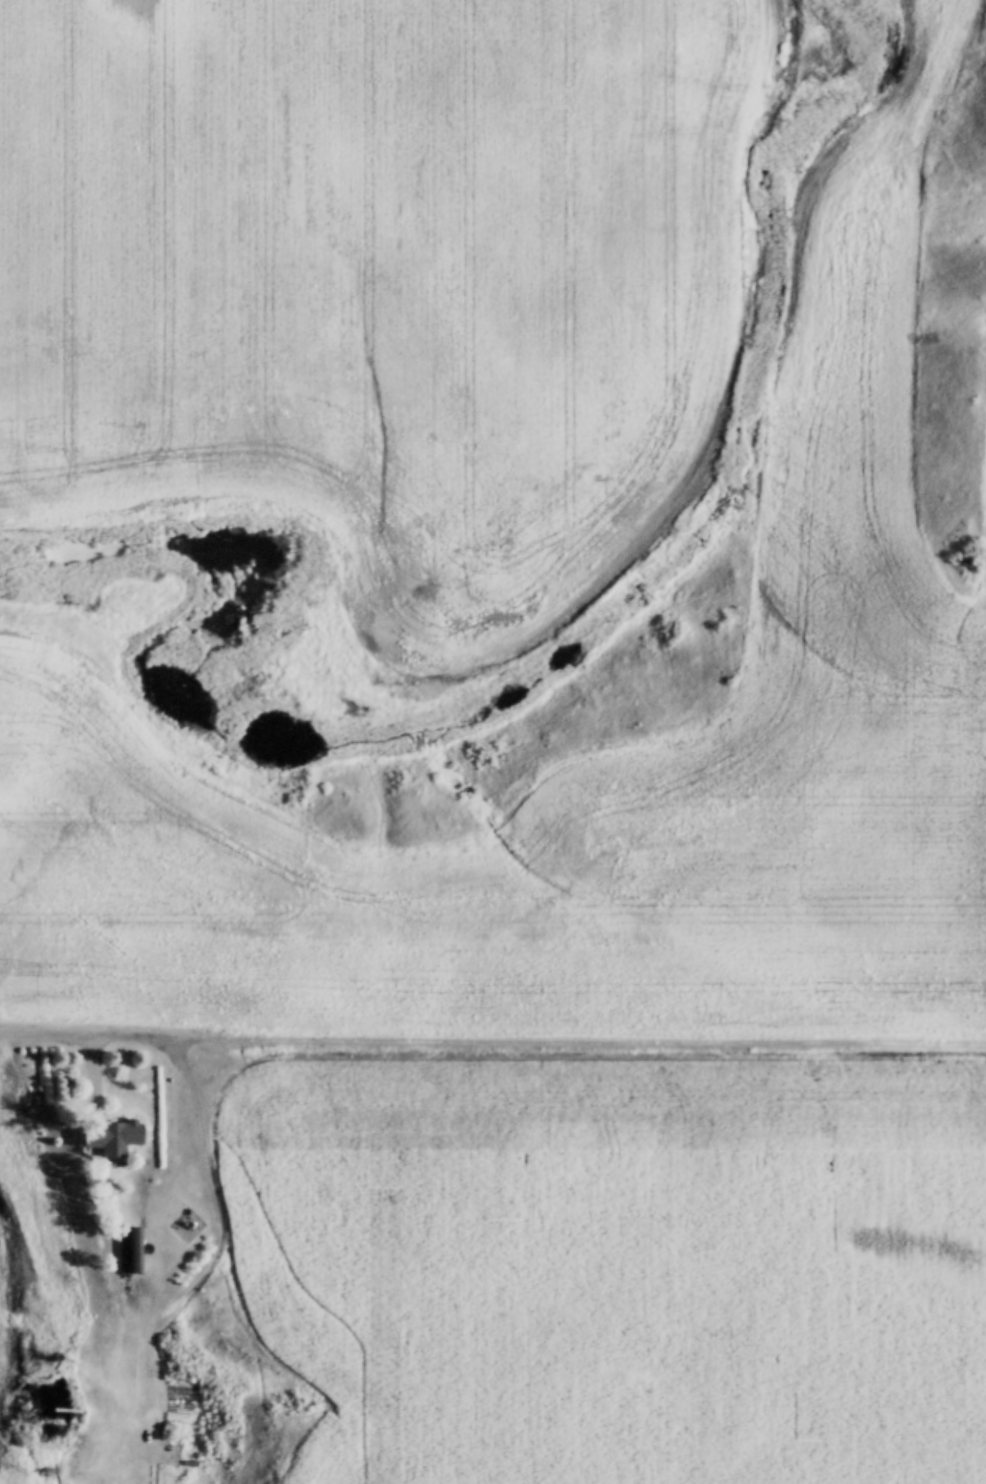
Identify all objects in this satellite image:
road: (46, 1034)
road: (538, 1044)
building: (112, 1136)
road: (83, 1175)
building: (135, 1250)

